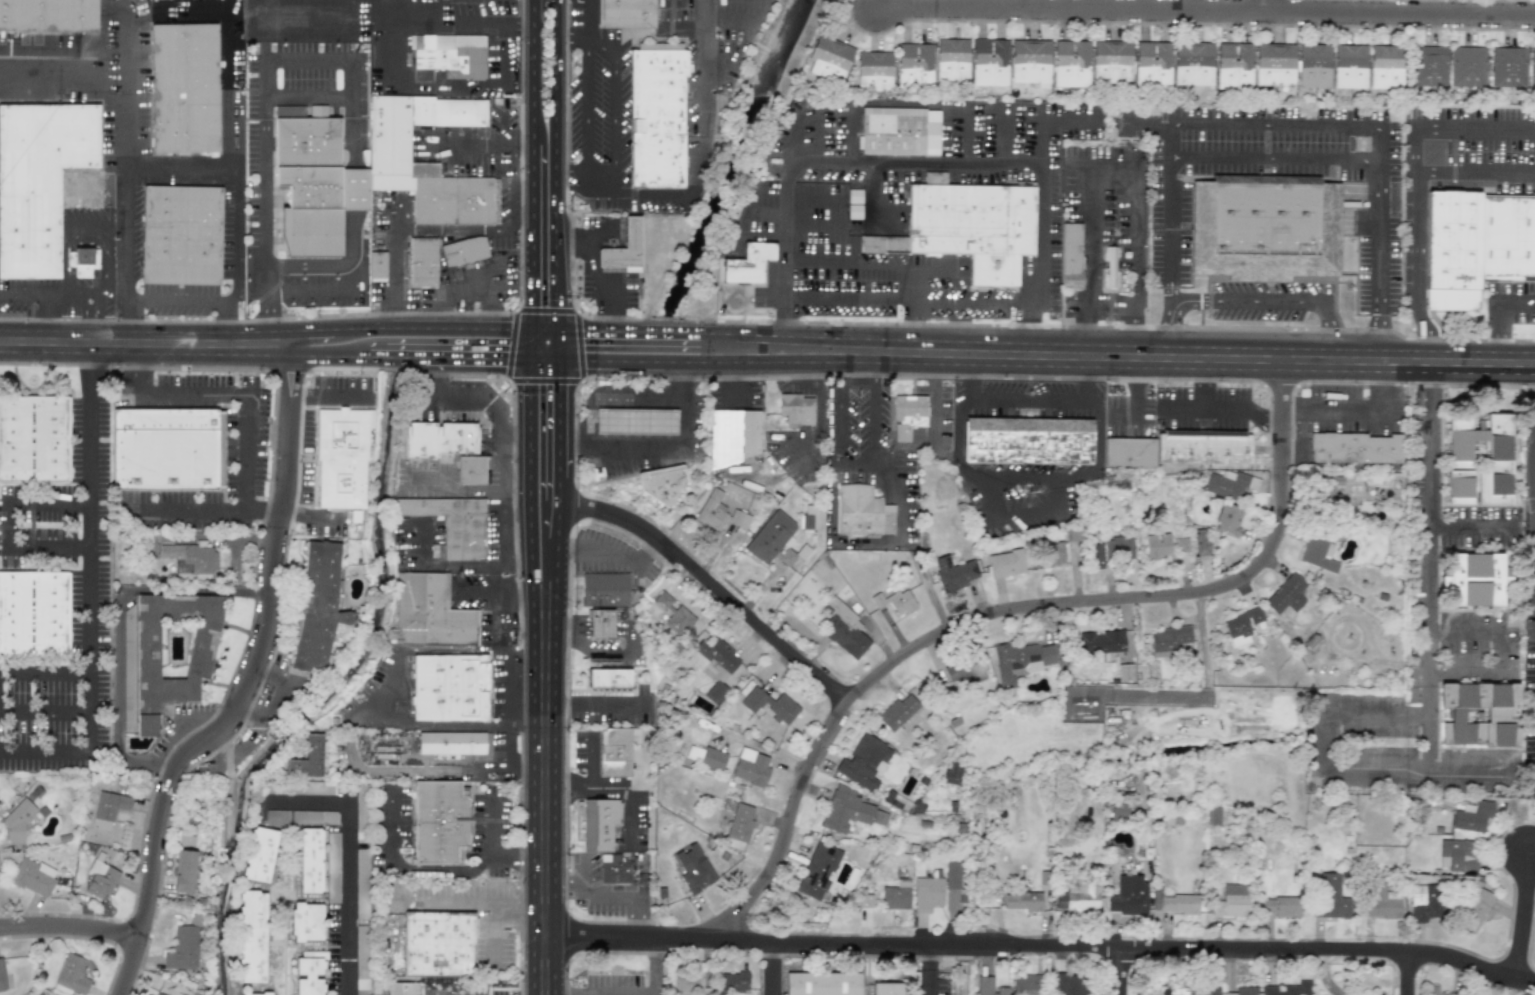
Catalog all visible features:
road: (1271, 6)
road: (1205, 11)
building: (627, 13)
building: (47, 15)
road: (728, 17)
road: (429, 20)
road: (589, 21)
road: (355, 36)
road: (105, 44)
road: (127, 50)
building: (449, 54)
building: (828, 58)
road: (326, 59)
building: (951, 60)
building: (1111, 61)
building: (989, 62)
building: (1030, 62)
building: (1070, 63)
building: (1193, 63)
building: (1151, 64)
building: (1274, 64)
road: (264, 65)
road: (702, 65)
road: (717, 65)
building: (914, 65)
building: (1233, 65)
building: (1313, 65)
building: (1429, 65)
building: (1349, 66)
building: (1385, 66)
building: (1466, 66)
building: (1507, 66)
building: (1532, 67)
road: (535, 71)
building: (873, 71)
road: (68, 78)
building: (185, 87)
road: (338, 97)
road: (615, 103)
road: (588, 111)
building: (657, 114)
road: (1069, 121)
road: (1147, 125)
road: (1283, 126)
road: (1477, 127)
building: (899, 131)
road: (1006, 135)
road: (969, 138)
road: (1042, 139)
road: (232, 141)
road: (483, 142)
road: (853, 143)
building: (389, 144)
road: (819, 145)
road: (791, 148)
road: (1276, 160)
road: (557, 165)
road: (1114, 166)
road: (922, 167)
road: (1477, 171)
road: (573, 180)
building: (39, 181)
building: (314, 189)
road: (673, 195)
building: (853, 203)
road: (769, 211)
road: (127, 219)
road: (1418, 219)
building: (969, 226)
building: (1264, 227)
road: (266, 232)
building: (182, 234)
road: (66, 236)
road: (534, 236)
road: (1136, 243)
building: (1475, 245)
building: (623, 248)
road: (1093, 249)
building: (463, 250)
building: (1070, 255)
road: (231, 256)
building: (81, 261)
building: (422, 262)
building: (747, 263)
road: (70, 264)
building: (377, 266)
road: (865, 266)
building: (1109, 266)
road: (104, 274)
road: (596, 277)
road: (916, 285)
road: (464, 292)
road: (47, 297)
road: (849, 299)
road: (179, 301)
road: (1276, 301)
road: (947, 303)
road: (1514, 304)
road: (547, 307)
road: (516, 309)
road: (577, 310)
road: (432, 327)
road: (1171, 328)
road: (89, 329)
traffic signals: (532, 329)
road: (544, 329)
traffic signals: (556, 330)
road: (647, 333)
road: (1493, 333)
road: (312, 334)
road: (1424, 337)
road: (1085, 339)
road: (1136, 339)
road: (1383, 339)
road: (146, 343)
road: (509, 344)
road: (531, 344)
road: (555, 344)
road: (581, 345)
road: (329, 355)
road: (376, 356)
road: (404, 356)
road: (1135, 356)
road: (477, 357)
traffic signals: (530, 359)
road: (542, 359)
traffic signals: (555, 359)
road: (646, 360)
road: (843, 363)
road: (877, 365)
road: (554, 375)
road: (529, 376)
road: (508, 380)
road: (582, 380)
road: (545, 382)
road: (1431, 384)
road: (1203, 385)
road: (1136, 386)
road: (610, 396)
road: (330, 397)
road: (938, 398)
road: (479, 404)
road: (1031, 404)
building: (795, 409)
road: (1212, 411)
road: (1275, 411)
road: (1358, 412)
road: (1122, 414)
building: (908, 415)
road: (876, 419)
road: (819, 421)
building: (634, 422)
road: (248, 429)
road: (554, 433)
road: (841, 435)
building: (733, 436)
building: (34, 439)
building: (439, 439)
building: (1027, 441)
gas station: (641, 444)
road: (658, 446)
building: (1202, 447)
building: (1355, 448)
building: (167, 449)
building: (1129, 452)
building: (342, 457)
building: (1479, 460)
building: (471, 470)
road: (1027, 476)
road: (513, 478)
road: (1532, 482)
building: (661, 483)
building: (1229, 484)
building: (1330, 486)
road: (553, 489)
road: (528, 496)
road: (897, 498)
road: (987, 498)
road: (27, 501)
road: (577, 506)
road: (1040, 509)
building: (719, 512)
building: (862, 512)
road: (312, 517)
building: (1228, 519)
road: (552, 520)
road: (501, 521)
building: (452, 523)
road: (1467, 529)
building: (1071, 535)
building: (770, 536)
building: (1201, 542)
road: (46, 545)
building: (1157, 545)
building: (1181, 545)
building: (1118, 548)
building: (1049, 553)
building: (1318, 553)
road: (597, 555)
building: (1097, 556)
building: (200, 559)
building: (1005, 563)
road: (477, 564)
road: (550, 567)
building: (954, 573)
building: (1475, 579)
road: (709, 583)
road: (90, 588)
building: (604, 589)
building: (1286, 594)
building: (895, 601)
building: (318, 604)
building: (428, 612)
road: (1019, 612)
building: (34, 614)
building: (673, 615)
road: (118, 616)
building: (601, 623)
building: (1241, 626)
building: (844, 629)
road: (1428, 632)
building: (1168, 640)
building: (1101, 642)
road: (1200, 643)
road: (1505, 654)
building: (165, 655)
building: (1021, 660)
road: (510, 665)
building: (714, 666)
building: (965, 671)
building: (1125, 672)
road: (45, 673)
building: (609, 679)
road: (247, 685)
building: (449, 688)
building: (770, 705)
road: (591, 706)
road: (527, 708)
road: (43, 711)
building: (897, 712)
building: (1481, 714)
road: (183, 730)
building: (1444, 733)
road: (1319, 742)
building: (454, 745)
building: (614, 752)
building: (706, 757)
building: (307, 759)
building: (864, 762)
building: (751, 767)
road: (505, 771)
road: (160, 773)
building: (953, 774)
road: (593, 787)
building: (314, 788)
road: (544, 795)
road: (628, 798)
building: (896, 801)
building: (108, 809)
building: (849, 810)
building: (1119, 810)
building: (361, 813)
building: (277, 816)
building: (314, 817)
building: (1472, 817)
building: (440, 821)
building: (740, 822)
building: (17, 824)
building: (599, 824)
building: (259, 855)
building: (1458, 855)
road: (491, 856)
building: (310, 860)
road: (347, 860)
building: (332, 867)
building: (614, 868)
building: (693, 868)
road: (407, 869)
building: (183, 871)
building: (818, 871)
building: (952, 874)
building: (33, 877)
building: (100, 880)
building: (362, 884)
building: (927, 894)
building: (896, 896)
building: (1129, 896)
road: (603, 897)
building: (1330, 897)
building: (1077, 899)
building: (865, 900)
building: (1023, 901)
building: (1232, 901)
road: (444, 902)
building: (1174, 903)
building: (1380, 903)
building: (1425, 903)
building: (1281, 907)
building: (1476, 910)
building: (307, 922)
road: (1528, 922)
road: (69, 927)
road: (494, 933)
building: (251, 937)
building: (437, 944)
building: (183, 949)
road: (1041, 949)
building: (361, 960)
road: (652, 967)
road: (769, 969)
road: (929, 970)
building: (310, 973)
road: (1124, 973)
building: (2, 976)
building: (71, 976)
road: (1411, 977)
building: (733, 982)
building: (690, 983)
building: (822, 983)
building: (913, 983)
building: (1027, 985)
building: (1070, 985)
building: (989, 987)
building: (401, 988)
building: (887, 989)
building: (1246, 989)
building: (1288, 989)
building: (1437, 991)
building: (157, 993)
building: (1176, 993)
building: (38, 994)
building: (257, 994)
road: (500, 994)

